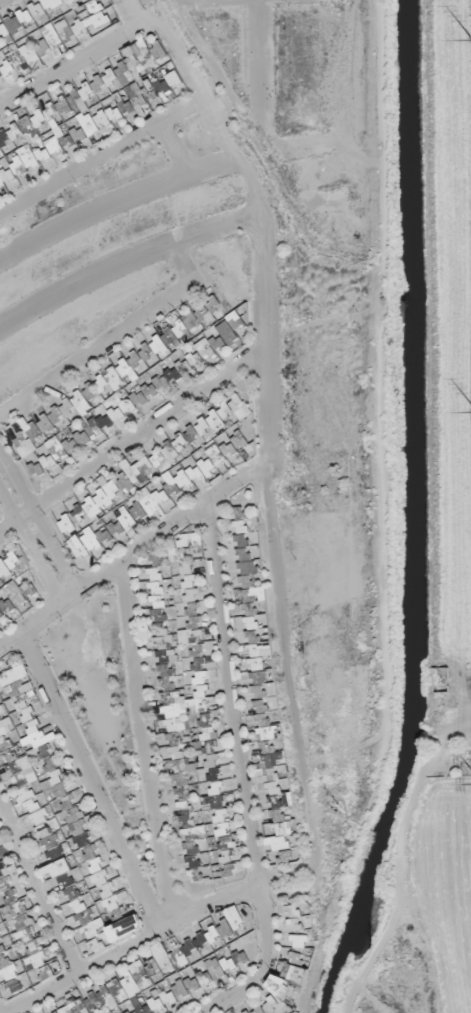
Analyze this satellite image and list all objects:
road: (3, 1)
road: (216, 2)
road: (131, 14)
power tower: (468, 44)
building: (0, 51)
road: (259, 58)
road: (83, 60)
building: (166, 87)
building: (138, 102)
building: (79, 109)
road: (173, 154)
road: (104, 159)
road: (116, 204)
road: (123, 263)
road: (182, 270)
road: (87, 357)
road: (385, 358)
road: (133, 441)
road: (268, 448)
road: (40, 522)
road: (29, 549)
road: (132, 556)
building: (9, 569)
road: (237, 742)
road: (143, 744)
road: (91, 782)
road: (399, 853)
road: (285, 886)
road: (39, 890)
road: (131, 945)
building: (114, 997)
road: (231, 998)
road: (372, 1000)
road: (353, 1001)
building: (79, 1009)

